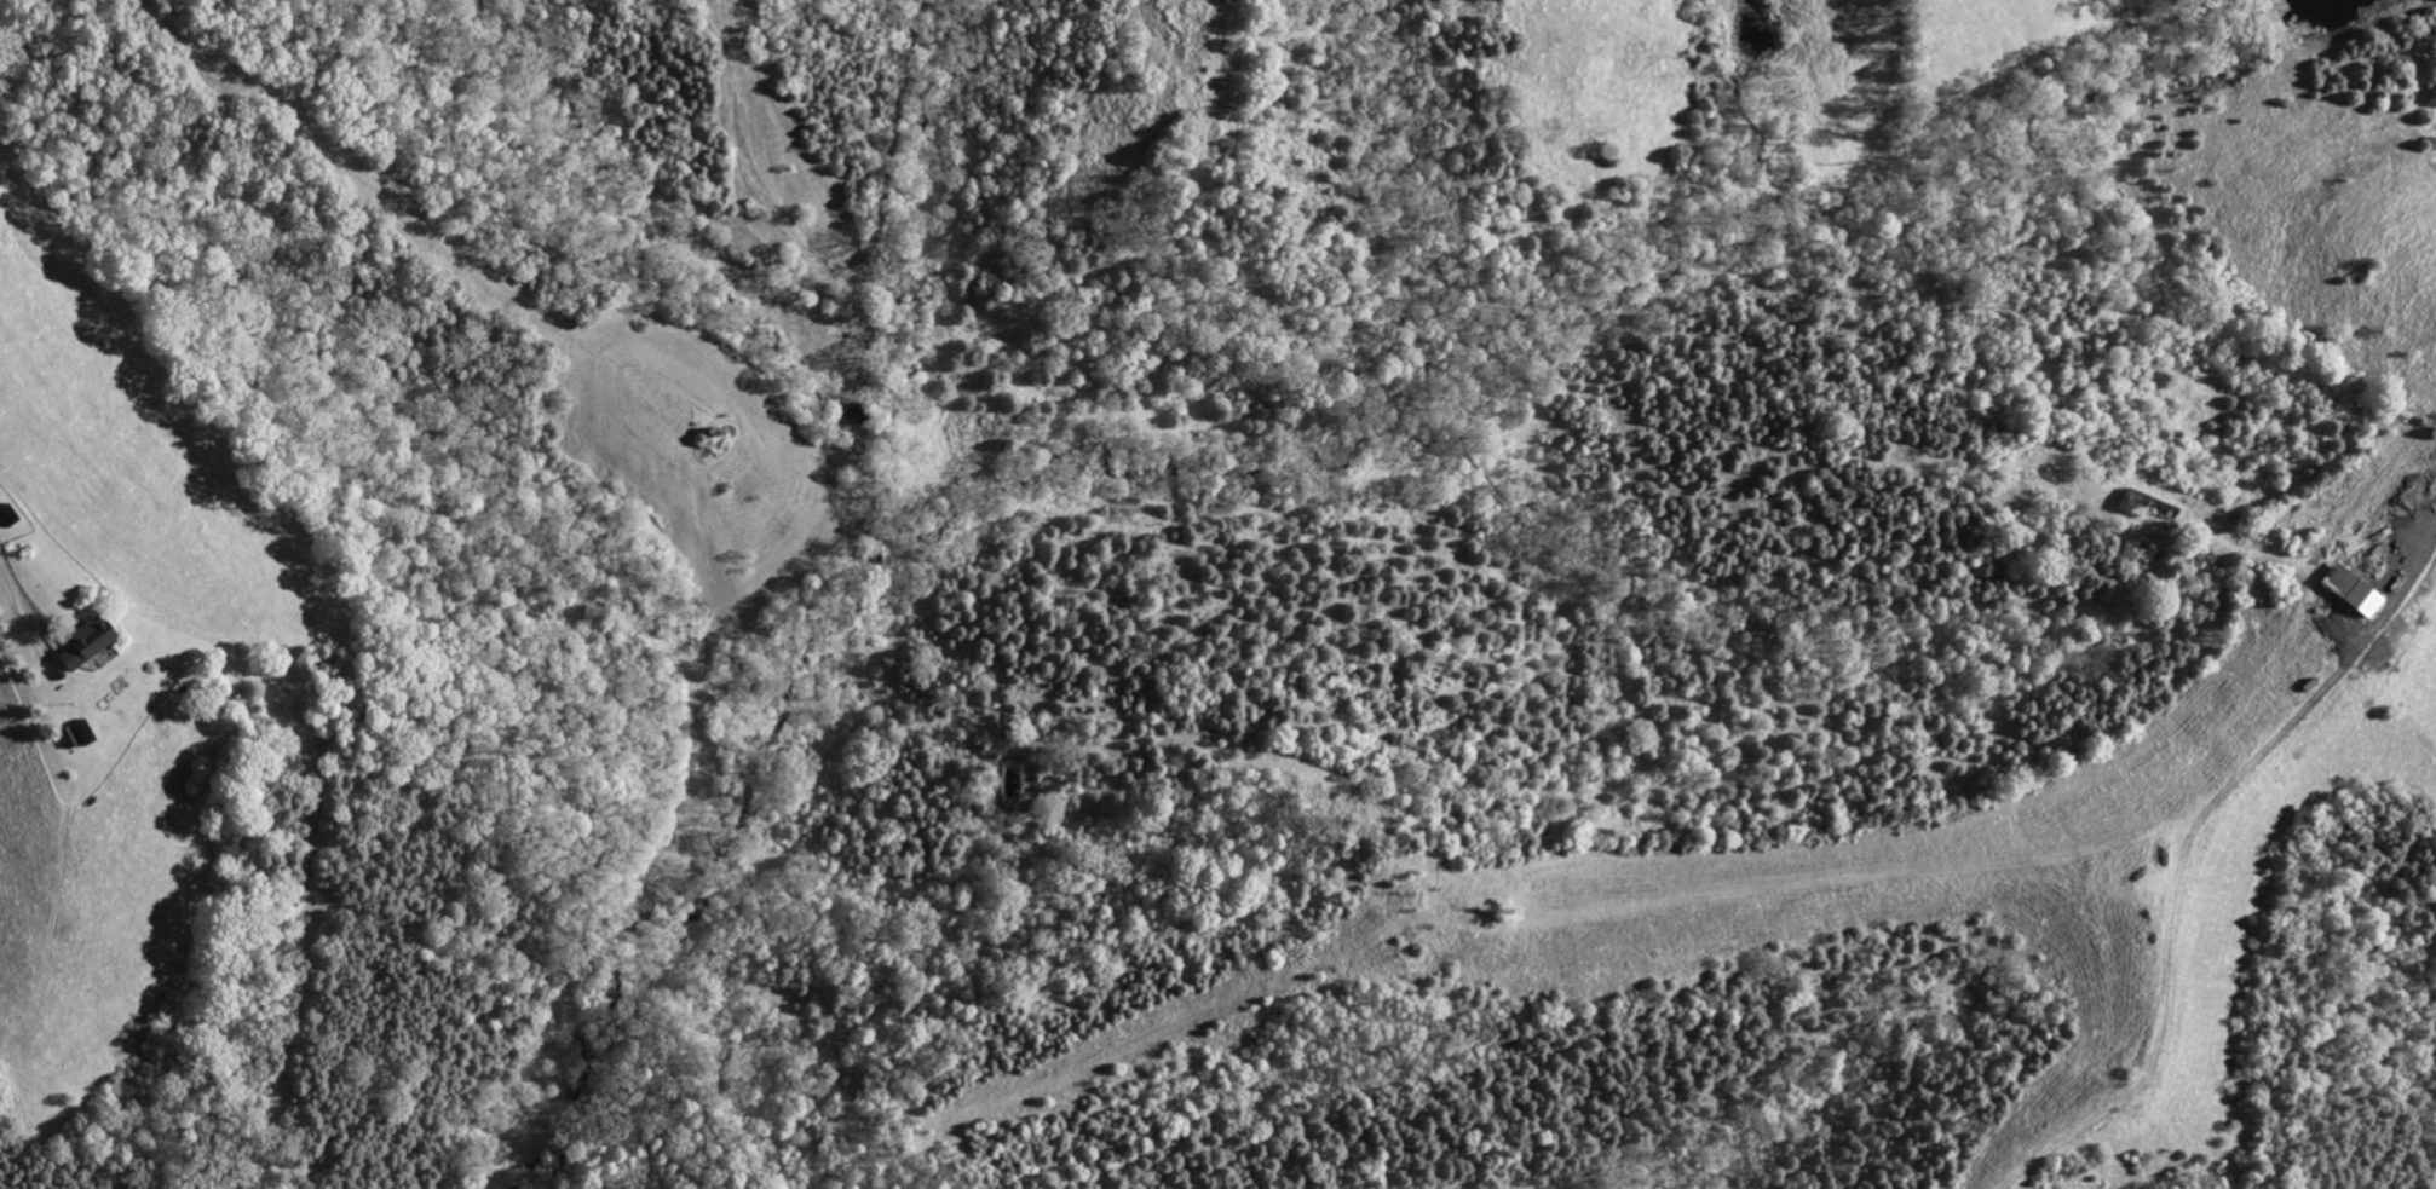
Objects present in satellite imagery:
building: (2148, 503)
road: (11, 575)
road: (2407, 583)
building: (2366, 599)
building: (91, 641)

